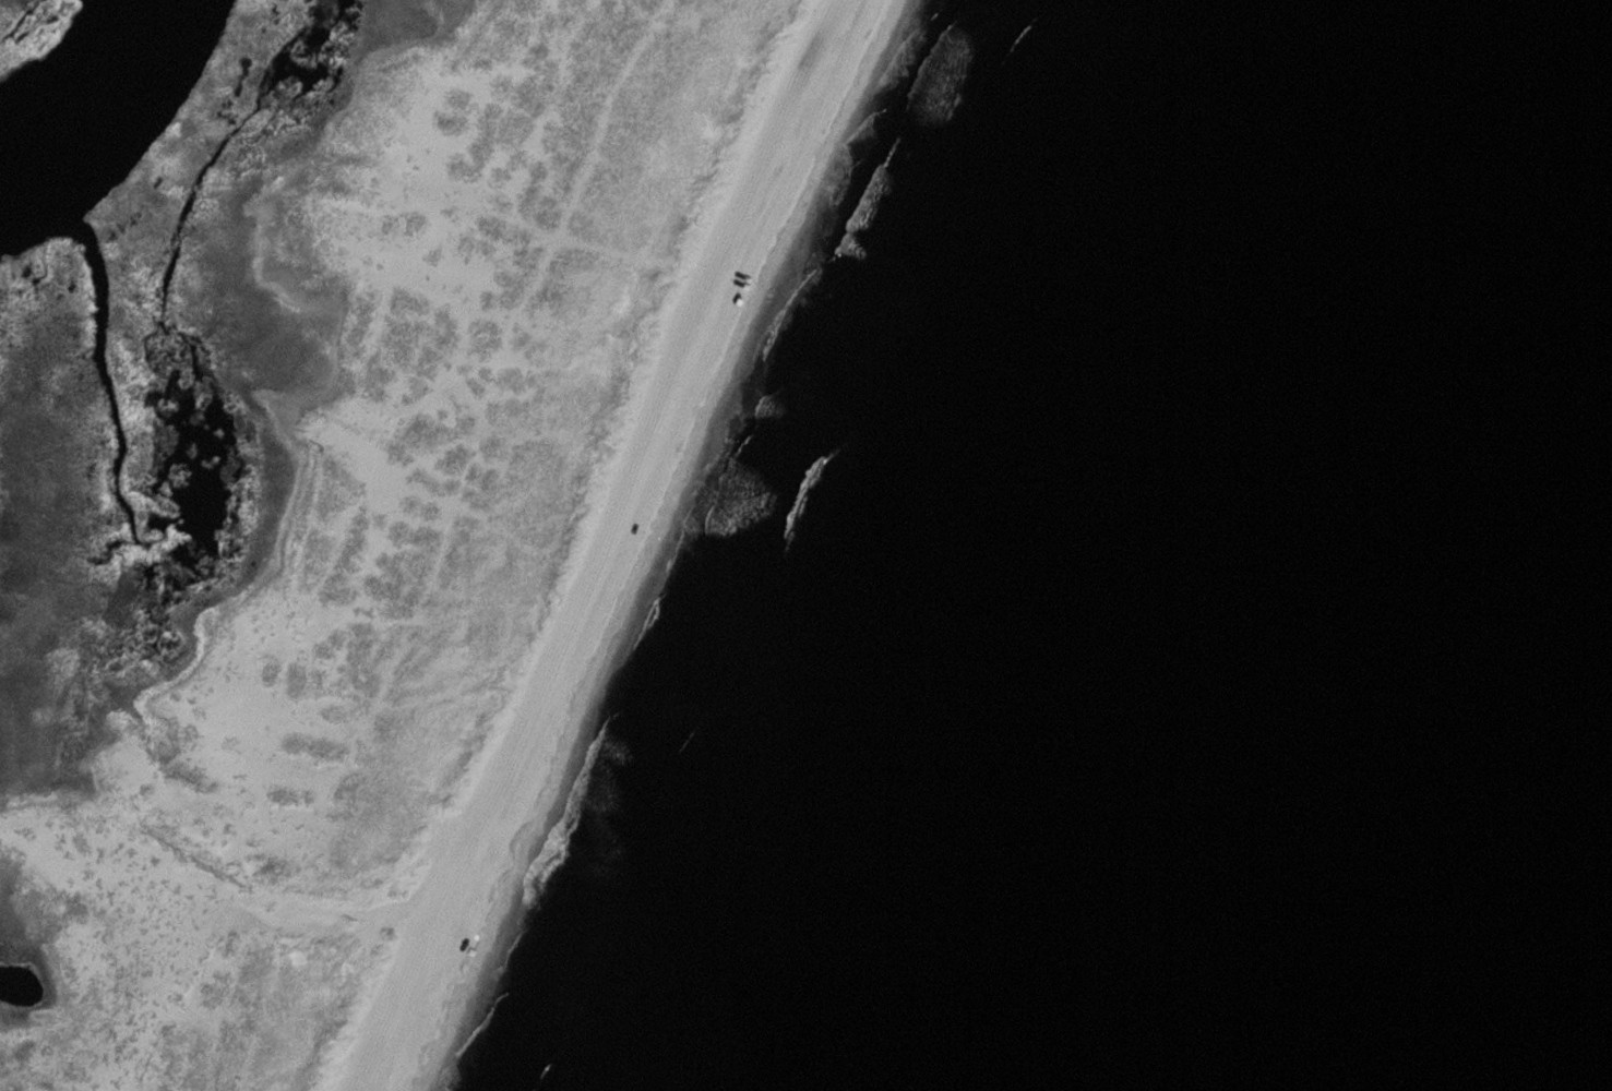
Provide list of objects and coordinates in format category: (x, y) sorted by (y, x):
park: (486, 506)

